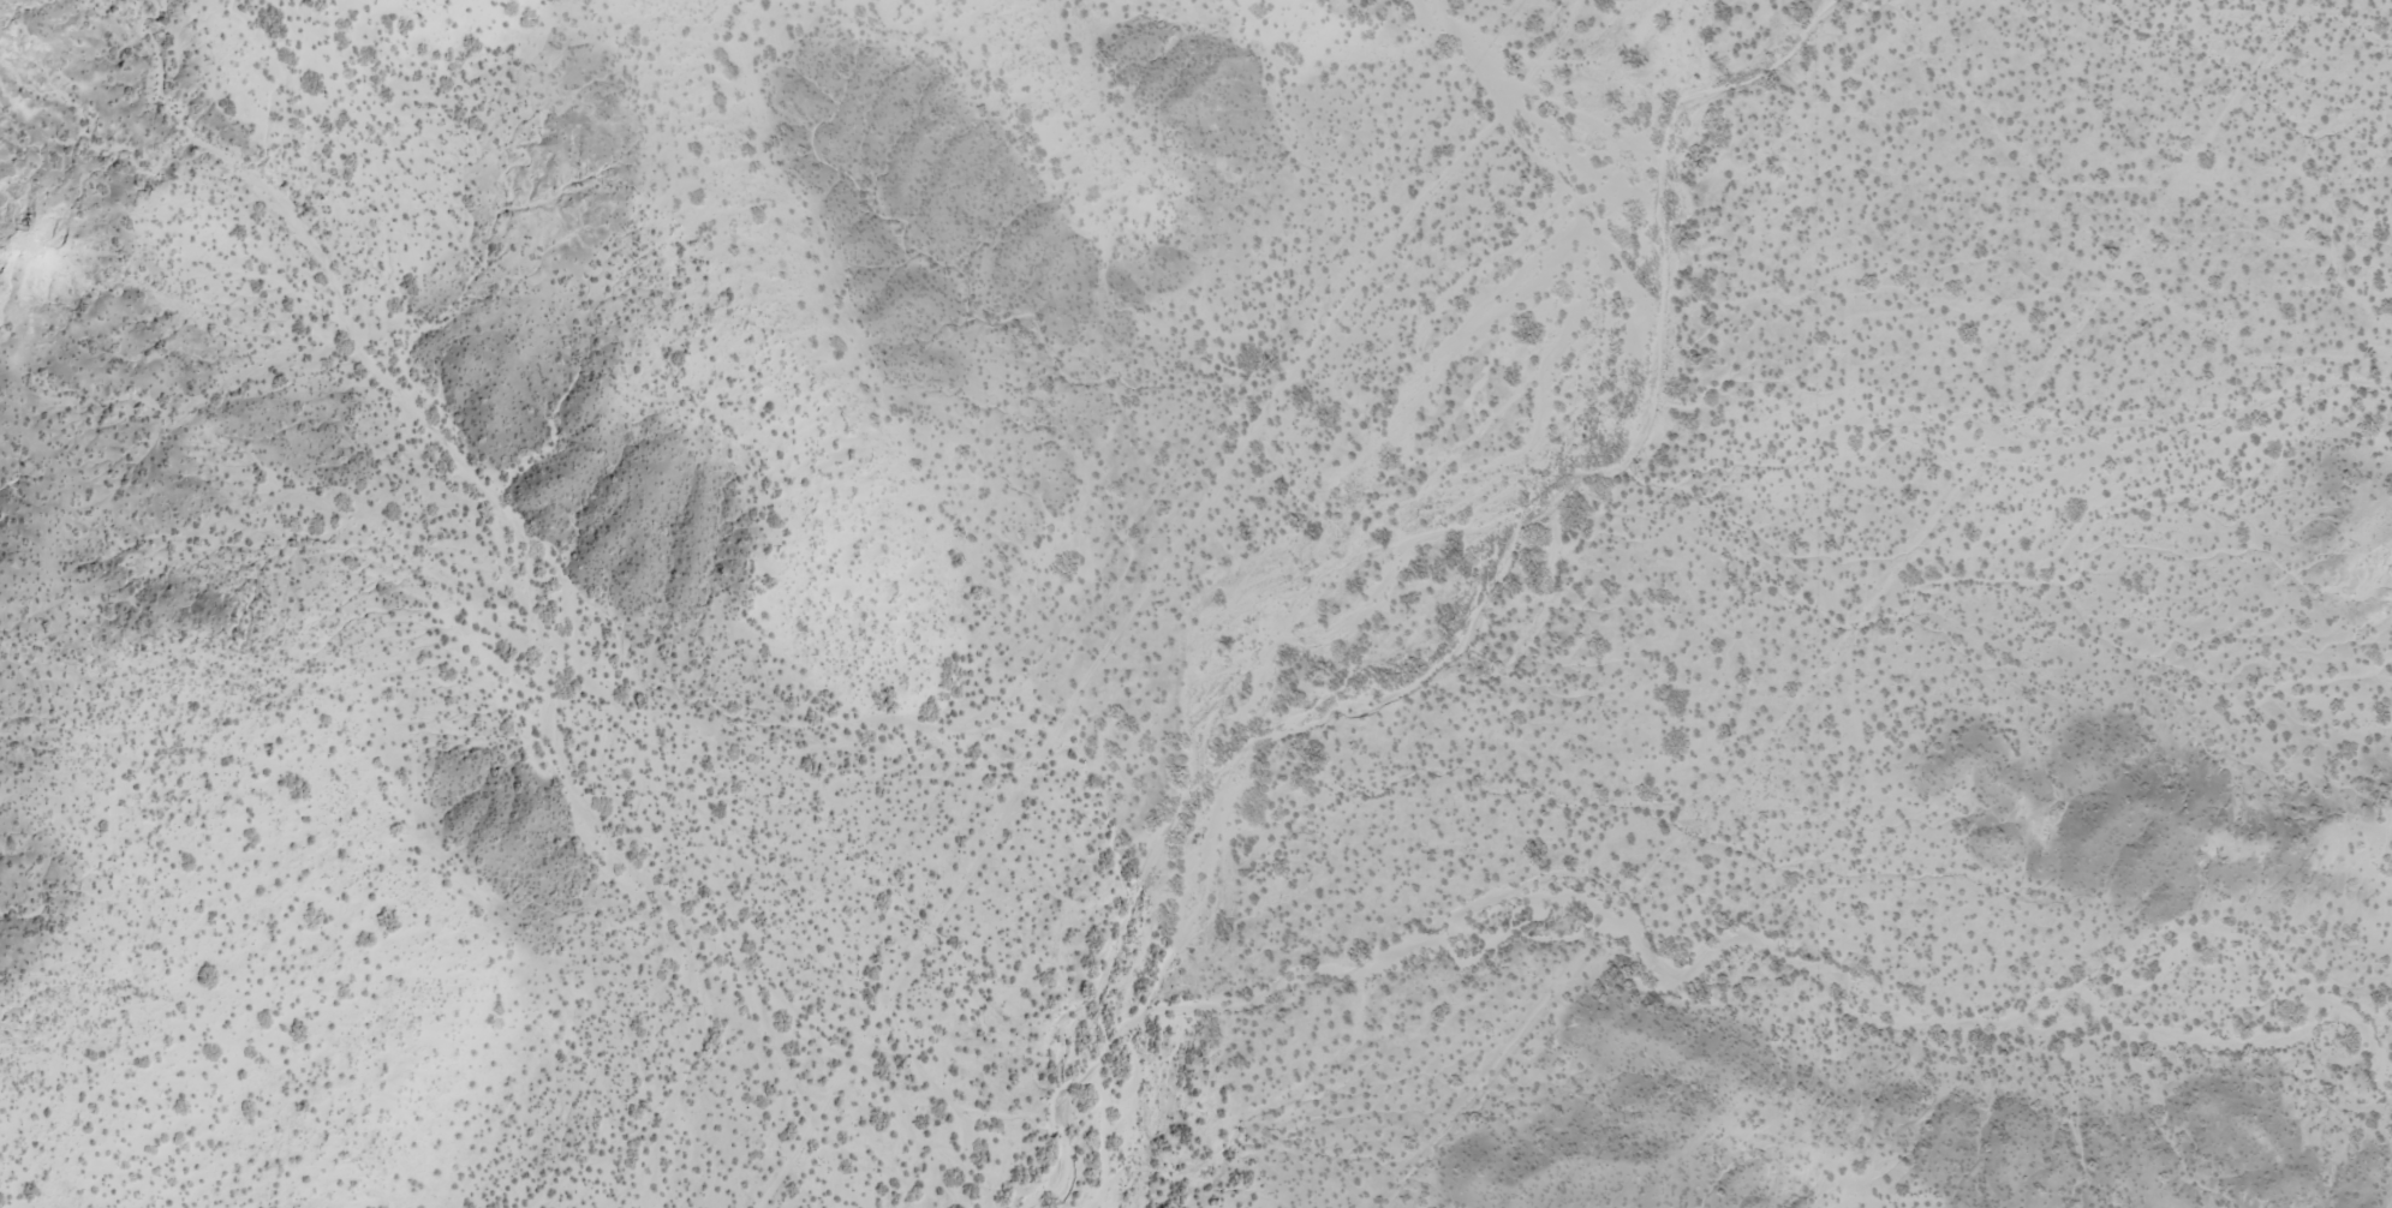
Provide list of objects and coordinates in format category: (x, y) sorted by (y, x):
road: (1188, 611)
road: (1976, 624)

